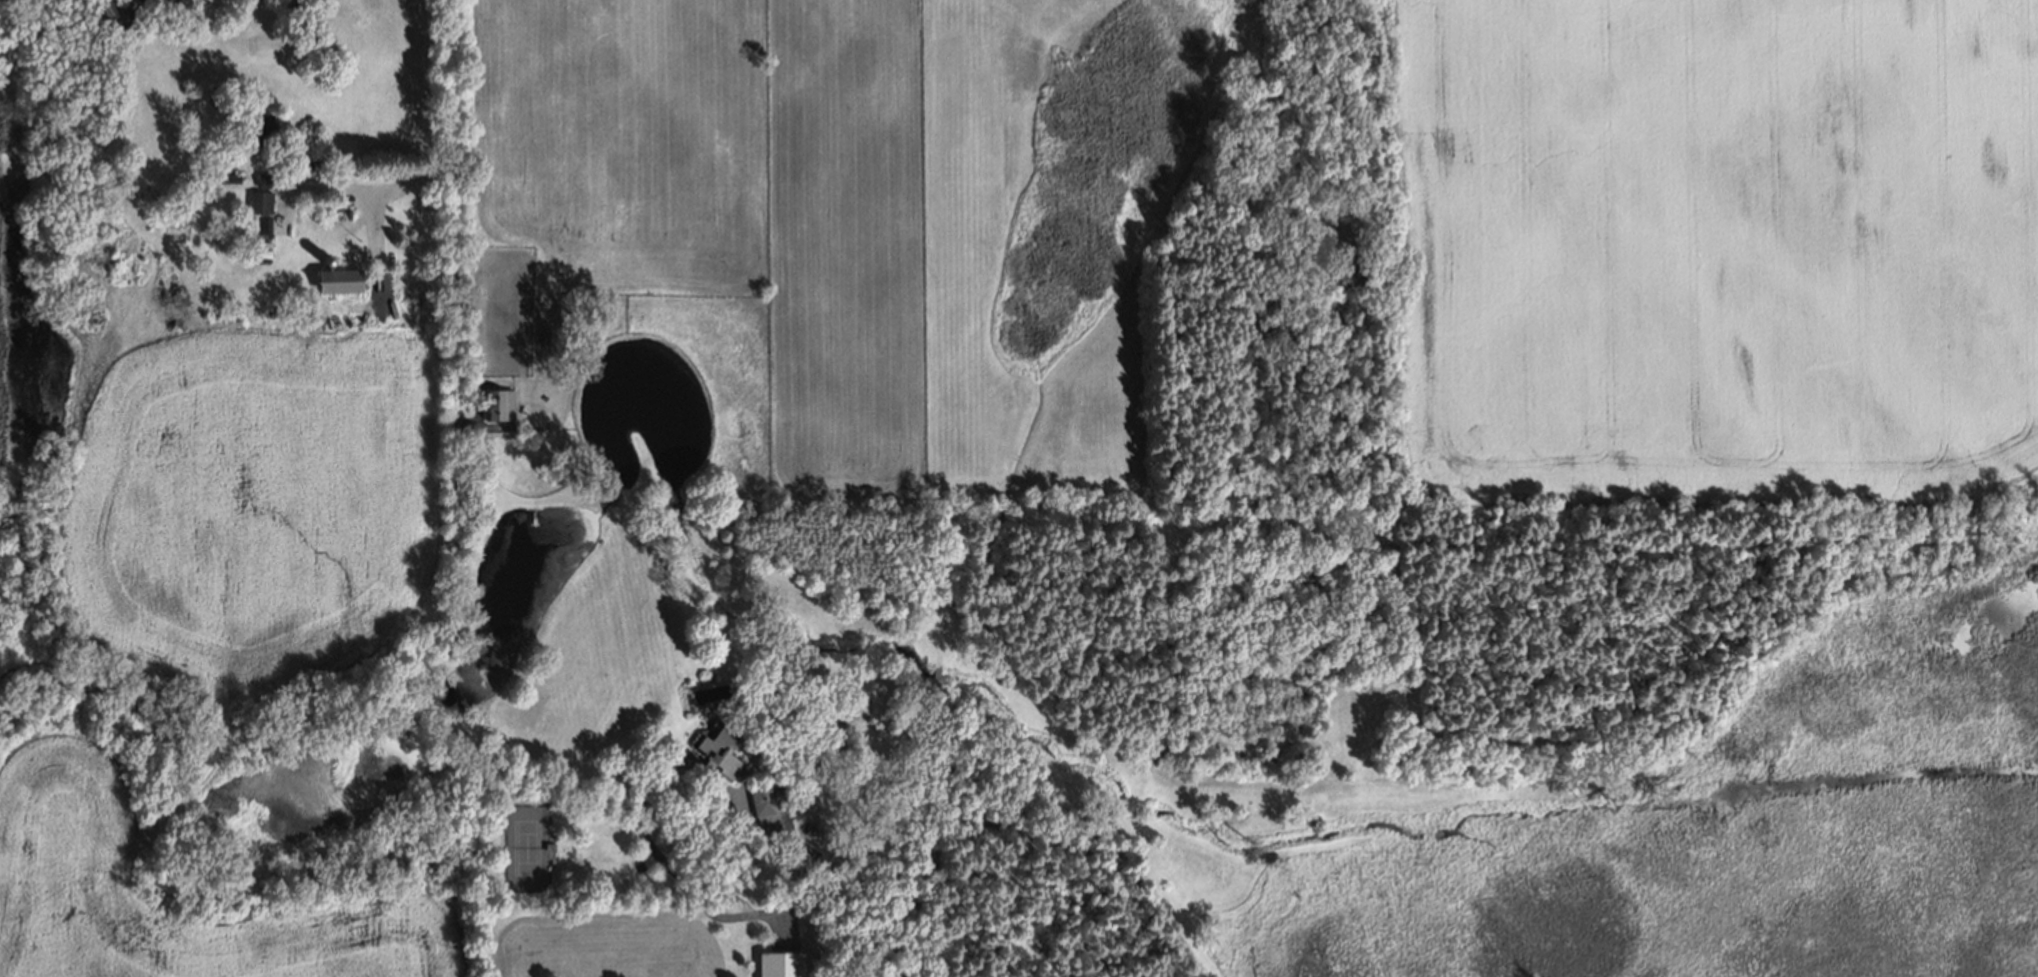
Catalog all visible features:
building: (113, 14)
road: (451, 70)
building: (257, 125)
building: (222, 176)
road: (385, 187)
building: (258, 202)
building: (324, 262)
building: (338, 279)
building: (598, 318)
building: (545, 343)
building: (494, 403)
road: (457, 599)
building: (717, 750)
building: (766, 802)
building: (781, 964)

